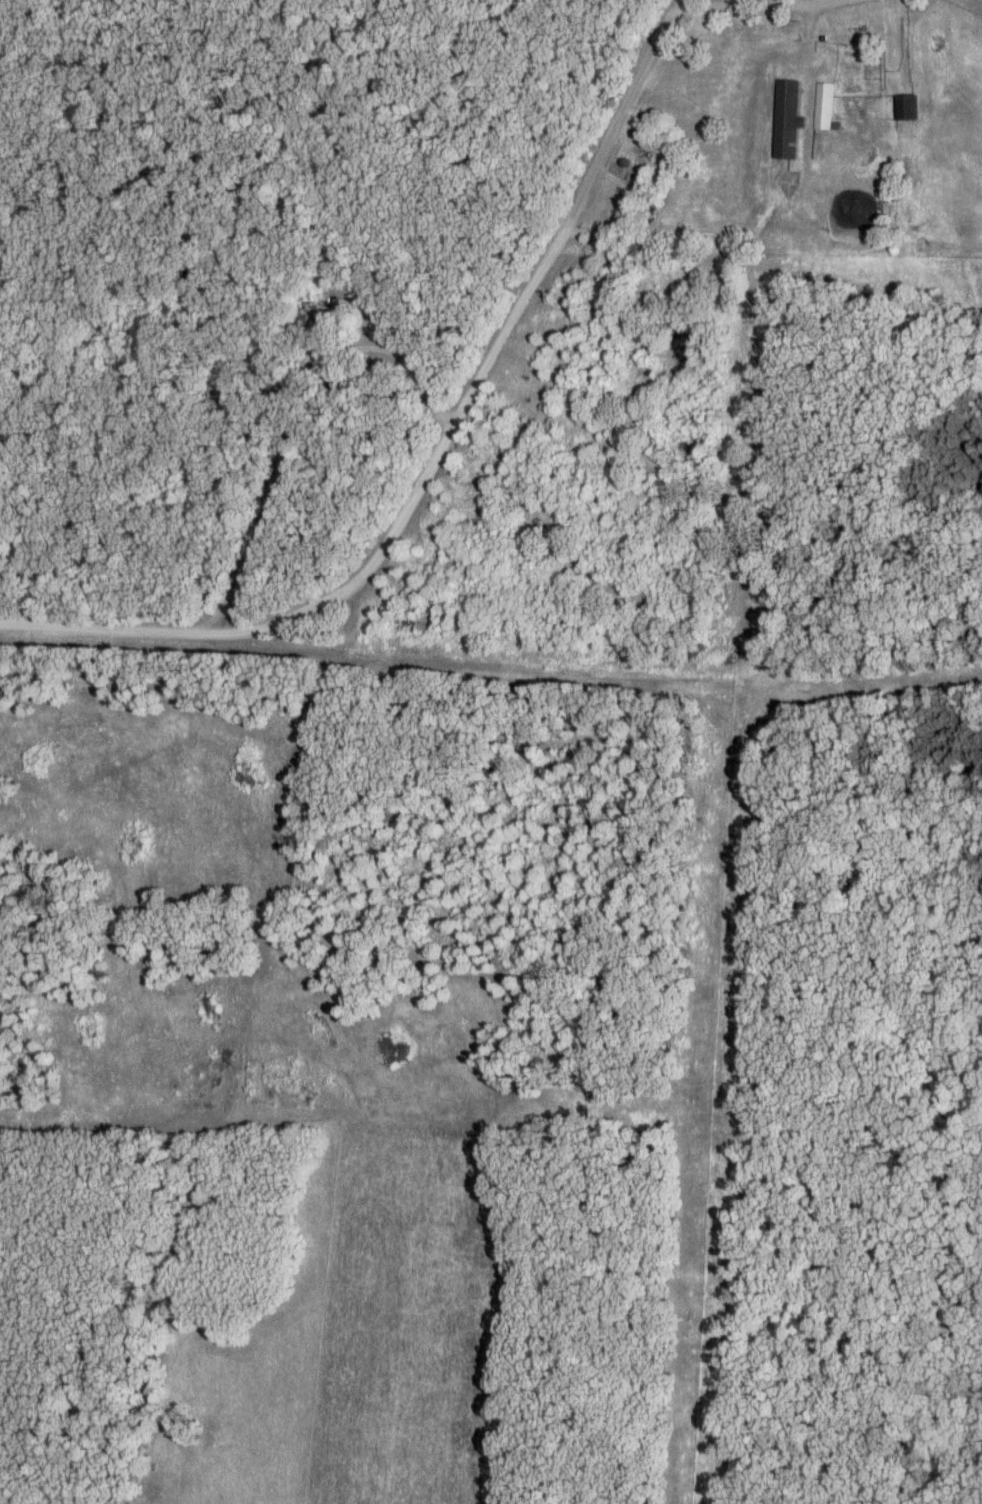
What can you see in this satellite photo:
road: (671, 4)
building: (824, 102)
building: (907, 105)
building: (788, 120)
road: (600, 141)
building: (312, 315)
road: (390, 372)
building: (221, 388)
road: (353, 594)

